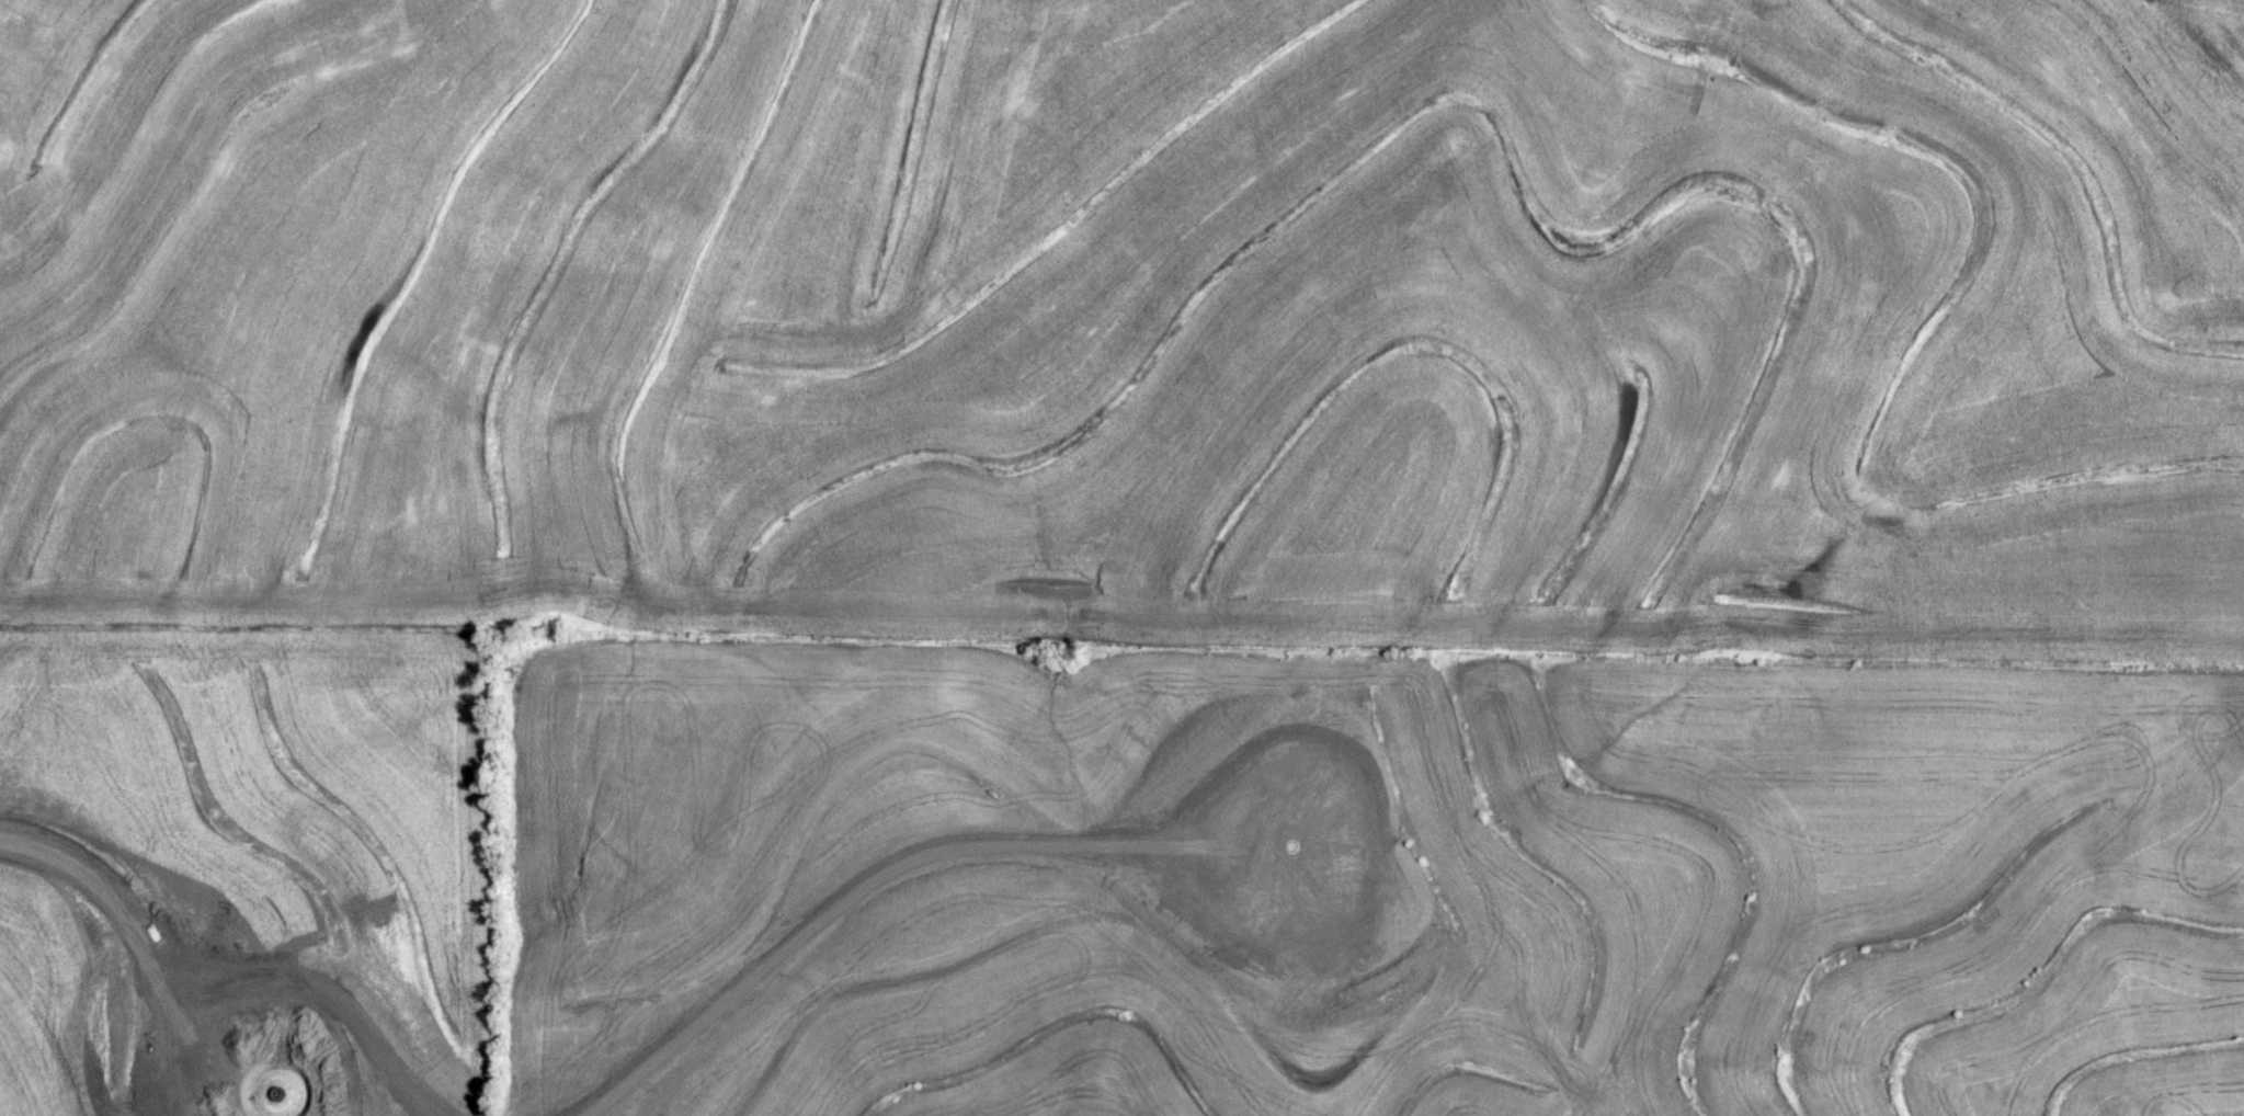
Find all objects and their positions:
wind turbine: (1288, 841)
wind turbine: (267, 1092)

